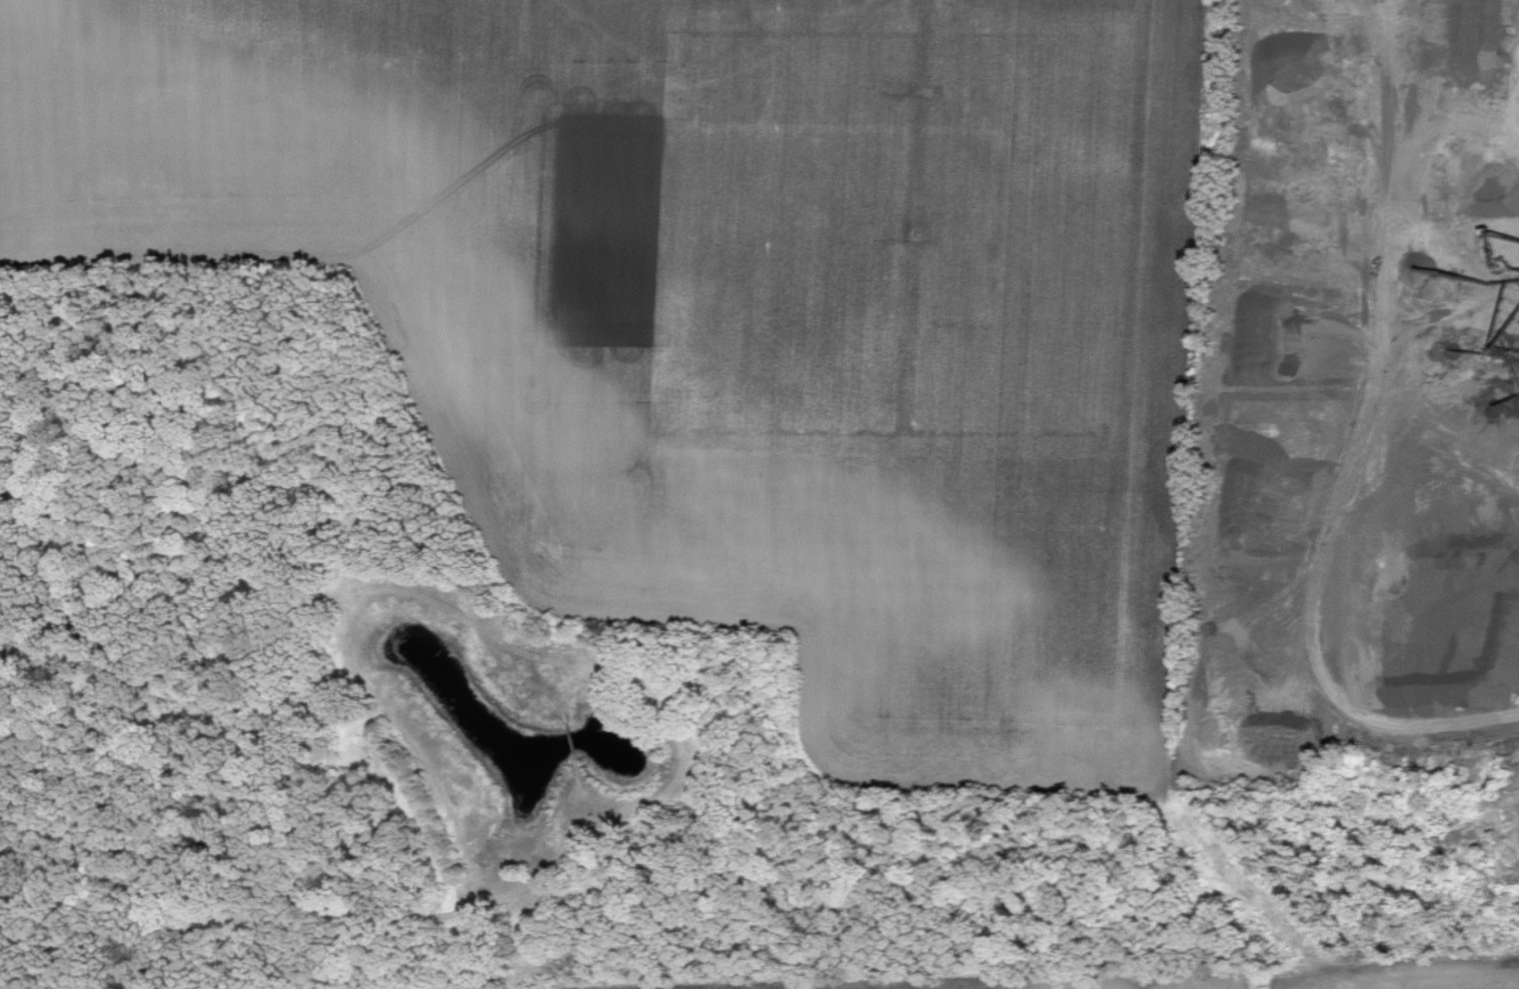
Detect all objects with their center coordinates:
quarry: (1352, 392)

